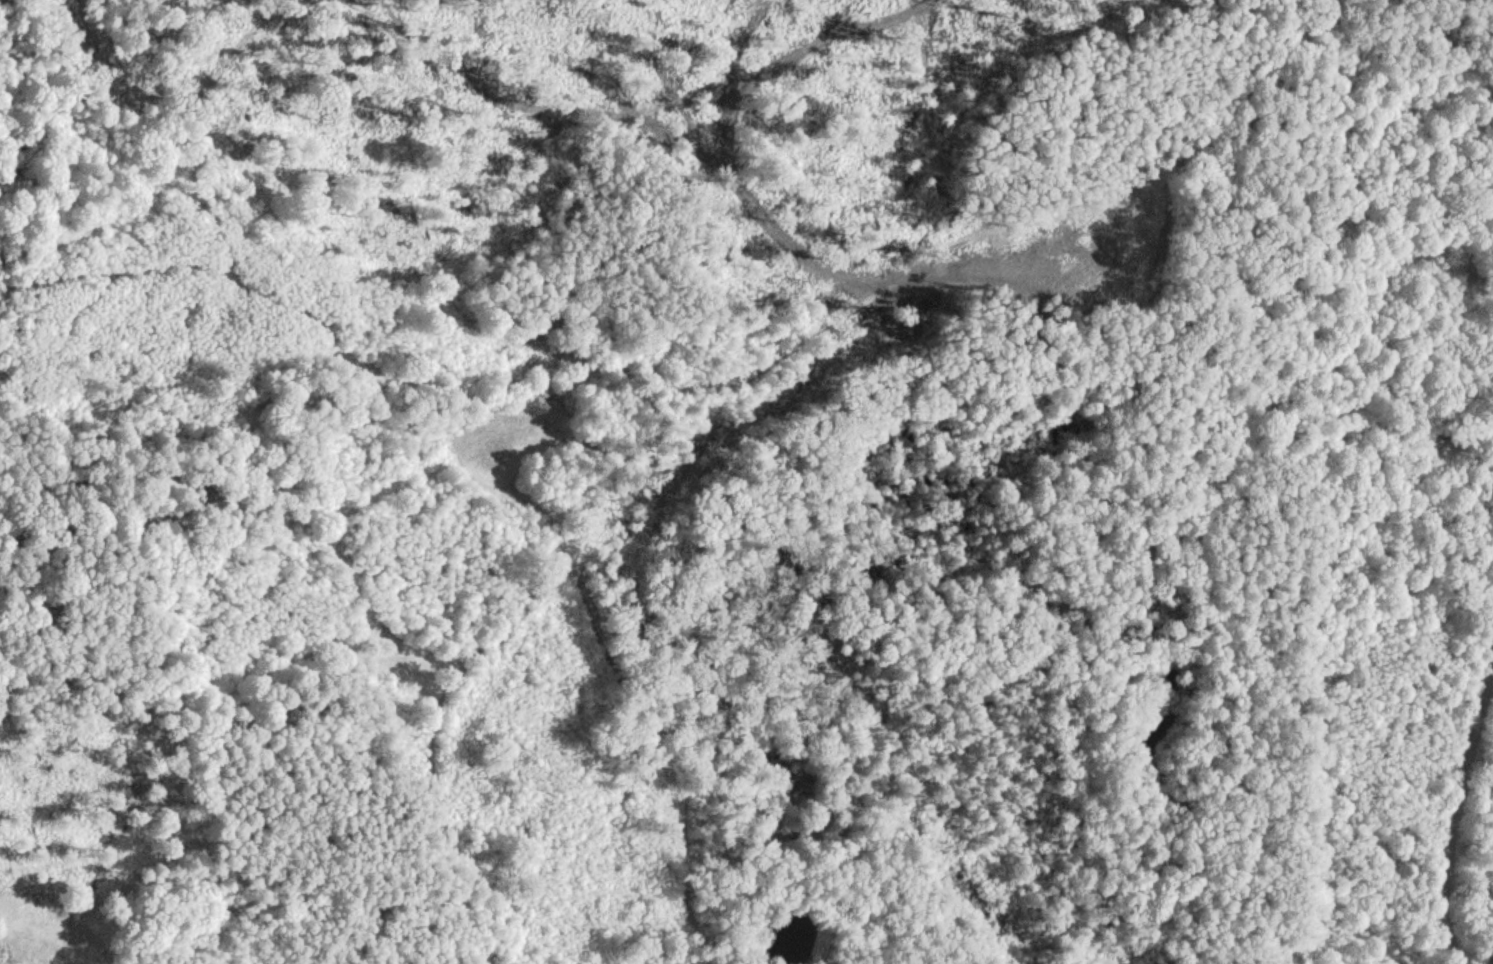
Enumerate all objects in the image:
road: (1461, 824)

